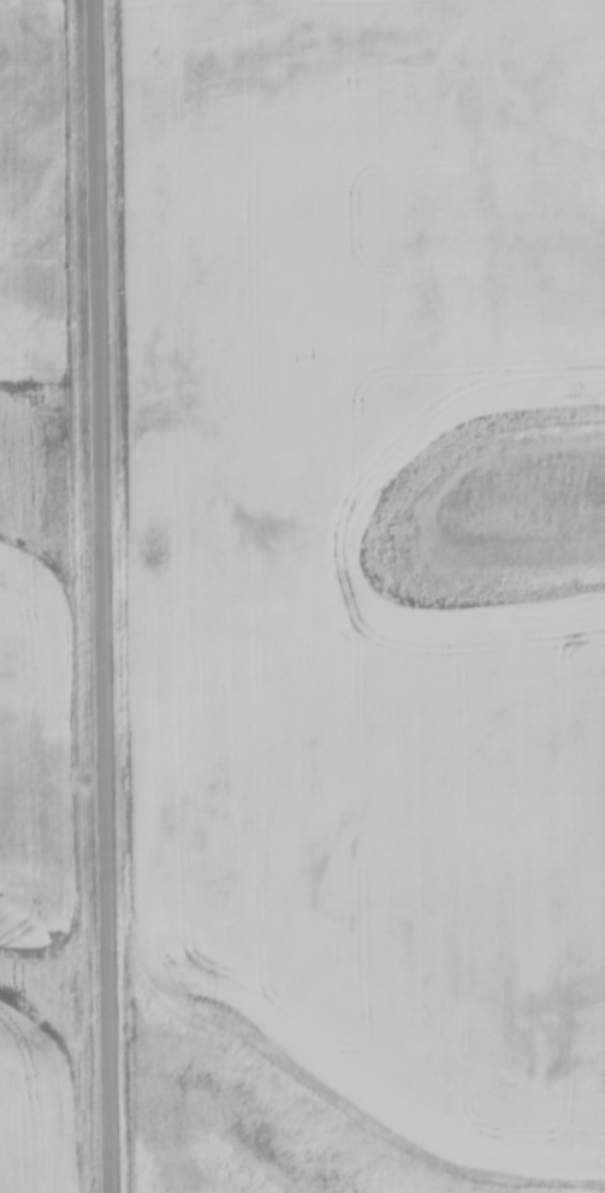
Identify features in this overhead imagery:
crop: (354, 593)
road: (103, 596)
crop: (47, 598)

